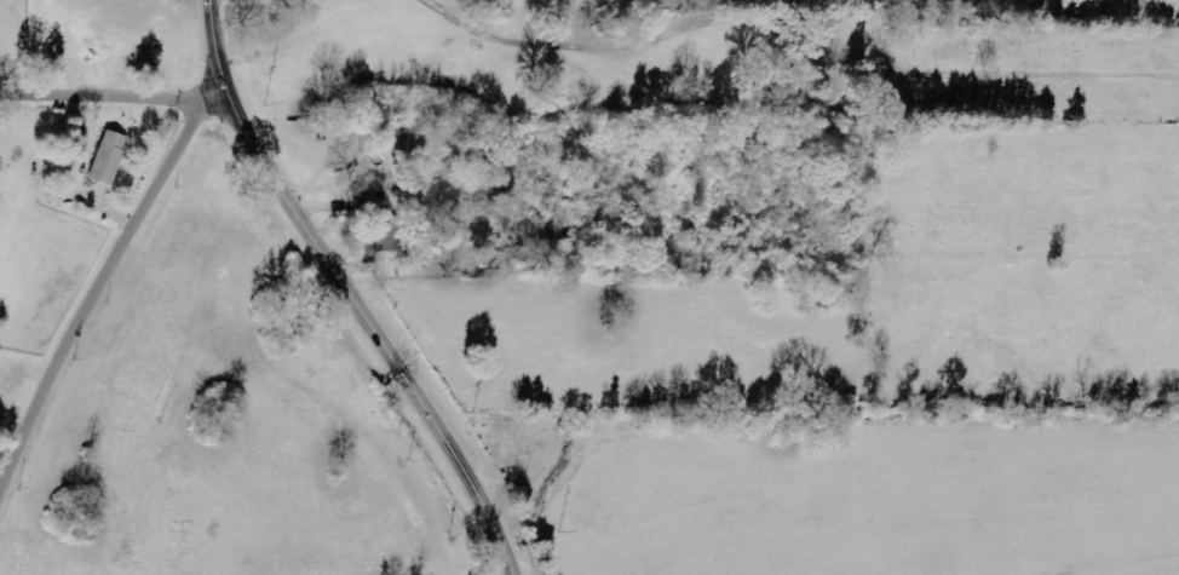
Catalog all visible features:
road: (113, 93)
building: (102, 156)
road: (103, 283)
road: (349, 292)

